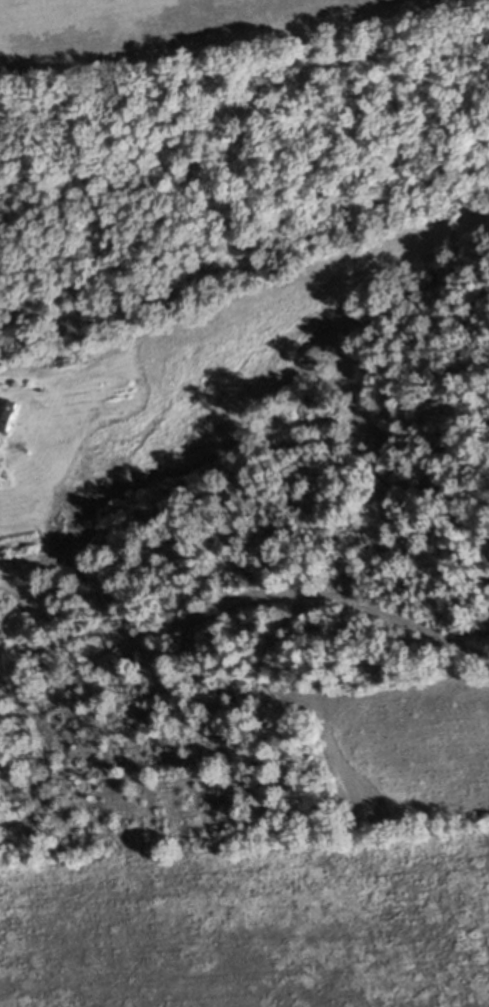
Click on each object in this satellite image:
building: (3, 412)

